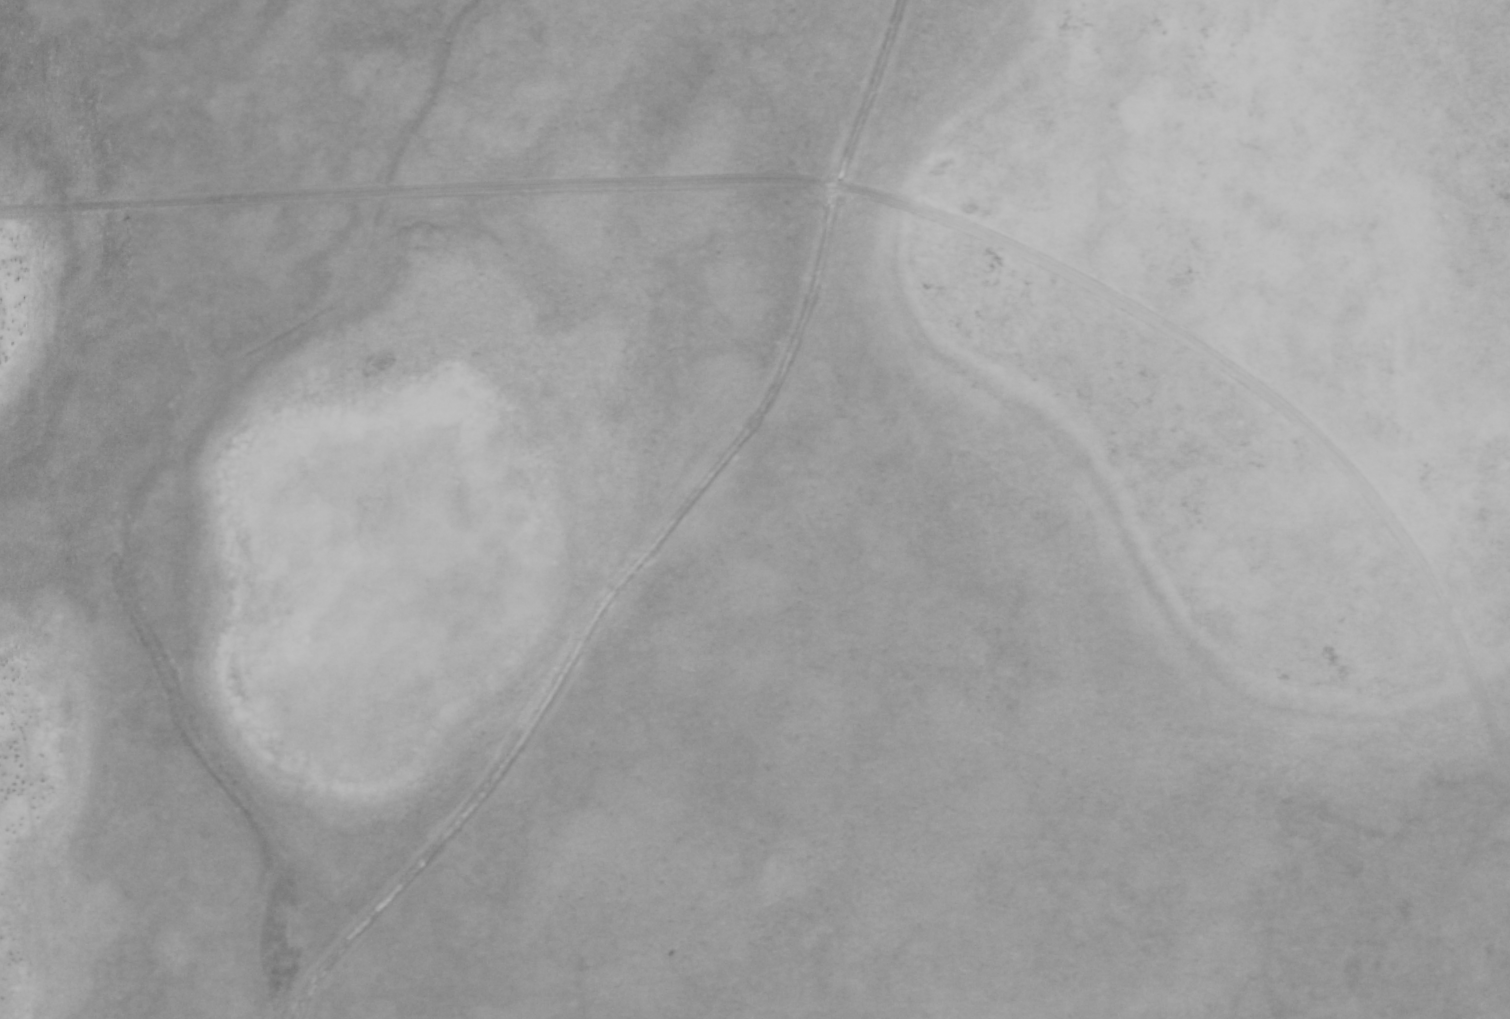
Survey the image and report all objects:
road: (887, 200)

